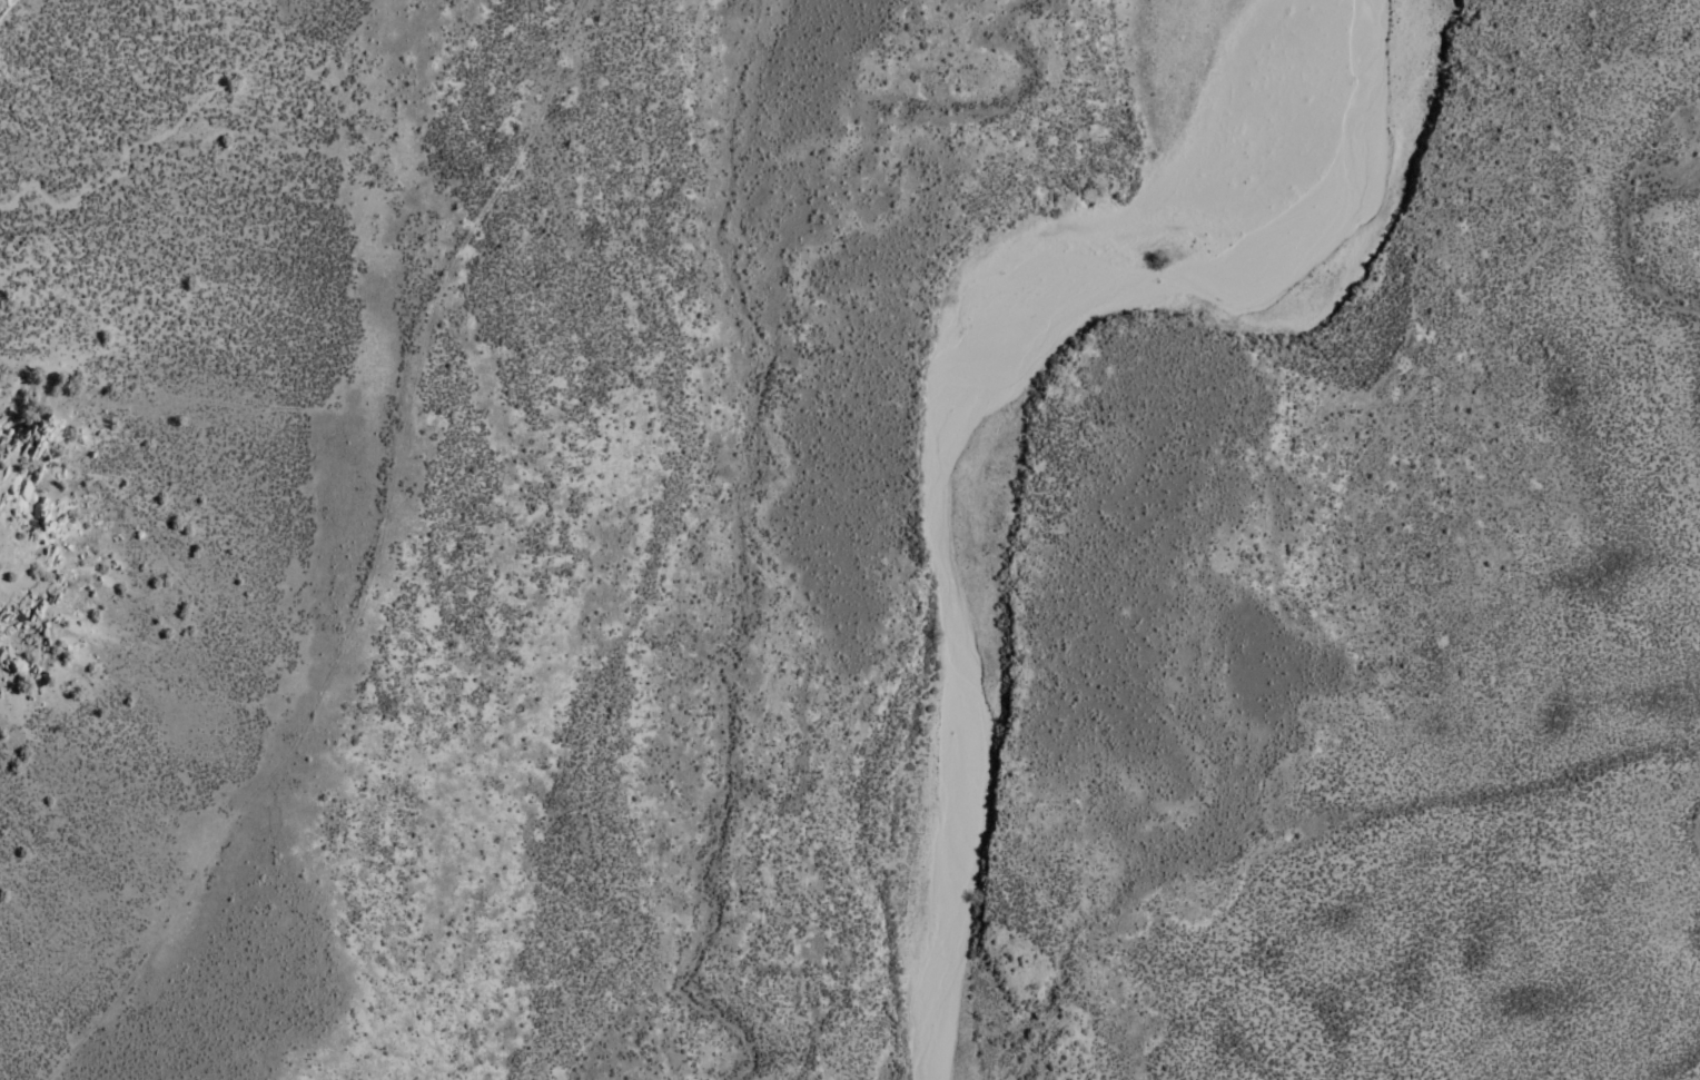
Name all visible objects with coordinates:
road: (247, 544)

